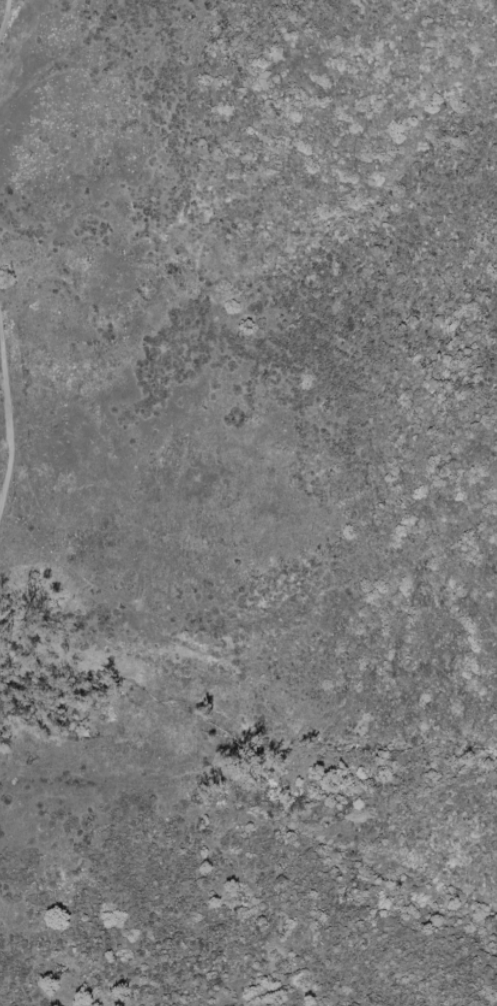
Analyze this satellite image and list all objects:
road: (3, 14)
road: (6, 425)
park: (248, 503)

